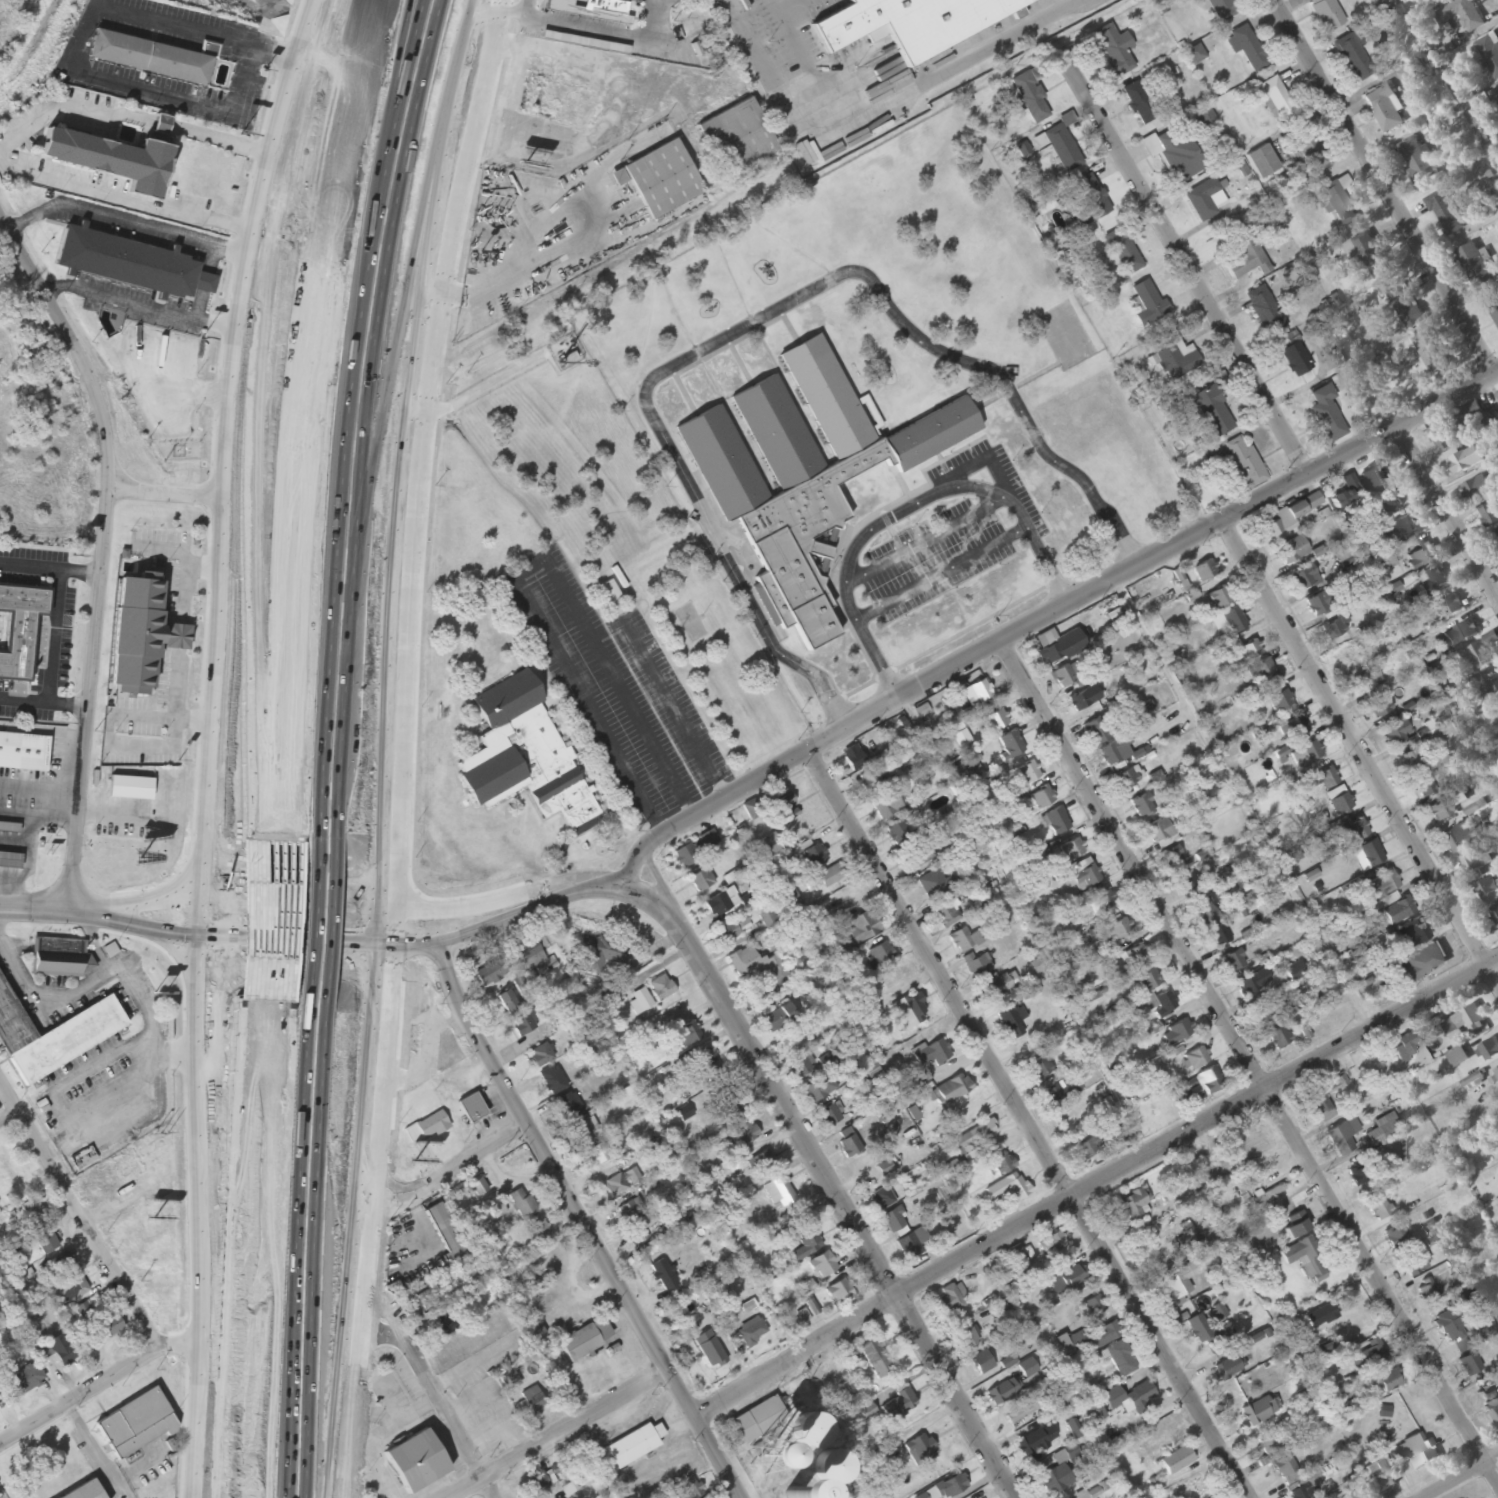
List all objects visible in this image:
building: (1430, 0)
building: (1222, 9)
building: (591, 10)
building: (1328, 15)
building: (1460, 15)
building: (898, 24)
building: (572, 41)
building: (1248, 49)
building: (1114, 50)
building: (1490, 54)
building: (1354, 58)
building: (162, 64)
road: (761, 65)
road: (938, 75)
building: (1412, 75)
building: (1495, 95)
building: (1275, 97)
building: (1031, 98)
building: (1140, 106)
building: (1385, 109)
building: (737, 139)
building: (1062, 148)
building: (1312, 151)
building: (1178, 159)
building: (1417, 160)
building: (1262, 162)
building: (124, 168)
building: (660, 180)
road: (1388, 187)
building: (1205, 200)
building: (1090, 201)
building: (1340, 203)
building: (1446, 214)
building: (1125, 247)
building: (1245, 256)
building: (1370, 257)
road: (1187, 264)
building: (1474, 266)
building: (138, 267)
building: (1148, 304)
building: (1404, 310)
building: (1494, 311)
building: (1265, 312)
road: (759, 325)
building: (1430, 354)
building: (1177, 360)
building: (1296, 360)
building: (1497, 396)
building: (1214, 412)
road: (401, 413)
building: (1326, 414)
road: (308, 417)
road: (345, 418)
building: (1467, 418)
building: (1442, 438)
road: (249, 460)
building: (1464, 461)
building: (1246, 464)
building: (807, 473)
building: (1369, 480)
building: (1477, 489)
building: (895, 493)
building: (1390, 503)
road: (1449, 510)
building: (1490, 514)
building: (1290, 517)
building: (1402, 529)
building: (1496, 533)
road: (103, 549)
building: (1292, 551)
building: (1422, 555)
building: (1205, 573)
building: (1435, 577)
building: (1305, 578)
building: (607, 590)
building: (1219, 598)
building: (1324, 605)
building: (1452, 607)
road: (1050, 620)
building: (1233, 620)
building: (1334, 630)
building: (1465, 633)
building: (28, 636)
building: (149, 642)
building: (1049, 647)
building: (1248, 652)
building: (1479, 656)
building: (1352, 657)
building: (1264, 674)
building: (1066, 676)
building: (1367, 682)
building: (1489, 691)
building: (981, 693)
building: (1084, 700)
building: (1279, 702)
building: (1379, 708)
building: (1497, 708)
building: (995, 721)
building: (1295, 728)
building: (1099, 731)
building: (1396, 735)
road: (206, 743)
building: (1011, 745)
road: (400, 746)
building: (22, 752)
road: (1361, 752)
building: (1114, 753)
building: (1306, 755)
building: (524, 757)
building: (853, 759)
building: (1412, 759)
building: (1024, 776)
building: (1129, 778)
building: (1324, 779)
building: (869, 781)
building: (1424, 788)
building: (1041, 799)
building: (1340, 802)
building: (887, 806)
building: (1142, 807)
building: (1447, 808)
building: (752, 811)
building: (781, 811)
building: (1056, 822)
building: (1354, 833)
building: (898, 834)
building: (1161, 834)
building: (1462, 839)
building: (708, 841)
building: (766, 849)
building: (1072, 850)
building: (1368, 856)
building: (685, 857)
building: (814, 857)
building: (919, 858)
building: (1172, 858)
building: (9, 861)
building: (1477, 861)
road: (288, 877)
road: (659, 878)
building: (1086, 878)
road: (182, 880)
building: (702, 881)
building: (1188, 883)
building: (933, 885)
building: (1382, 885)
road: (596, 887)
building: (1488, 893)
road: (408, 896)
building: (1102, 902)
road: (132, 904)
road: (295, 905)
building: (717, 906)
road: (481, 907)
building: (1398, 909)
road: (34, 910)
building: (946, 913)
building: (1204, 913)
building: (1495, 916)
road: (333, 918)
road: (256, 919)
building: (764, 919)
road: (274, 920)
building: (864, 927)
road: (131, 928)
road: (317, 929)
road: (482, 930)
building: (733, 930)
building: (1119, 930)
building: (1412, 934)
building: (1218, 936)
road: (293, 941)
building: (964, 941)
building: (881, 954)
road: (176, 955)
building: (600, 956)
building: (1134, 956)
building: (61, 958)
building: (1234, 962)
building: (1423, 963)
building: (752, 964)
building: (978, 965)
road: (303, 968)
building: (492, 973)
building: (1147, 978)
building: (1254, 984)
building: (661, 989)
building: (991, 989)
building: (641, 1002)
building: (508, 1004)
building: (1161, 1005)
building: (910, 1012)
building: (1267, 1012)
building: (779, 1019)
building: (1012, 1022)
building: (1466, 1023)
building: (526, 1025)
building: (1177, 1034)
building: (688, 1035)
building: (58, 1037)
building: (1279, 1039)
building: (1408, 1045)
building: (1488, 1052)
road: (314, 1053)
building: (934, 1055)
building: (541, 1056)
road: (310, 1058)
building: (1196, 1059)
building: (1458, 1059)
building: (801, 1064)
road: (1252, 1064)
building: (706, 1066)
building: (1039, 1069)
building: (1496, 1076)
building: (553, 1081)
road: (772, 1083)
building: (1199, 1086)
building: (953, 1090)
road: (256, 1091)
building: (815, 1092)
building: (1061, 1093)
building: (729, 1103)
building: (1319, 1104)
building: (569, 1107)
building: (471, 1110)
road: (8, 1116)
building: (833, 1119)
road: (1026, 1126)
building: (427, 1129)
building: (580, 1131)
building: (1383, 1131)
building: (746, 1135)
building: (1343, 1137)
building: (975, 1138)
building: (849, 1144)
building: (1091, 1149)
building: (597, 1156)
building: (1000, 1161)
building: (762, 1164)
building: (7, 1170)
road: (453, 1170)
building: (1364, 1175)
road: (1091, 1181)
building: (617, 1186)
building: (1009, 1190)
building: (779, 1193)
building: (883, 1200)
building: (1133, 1203)
building: (1379, 1209)
road: (574, 1210)
building: (496, 1211)
building: (631, 1211)
building: (32, 1213)
road: (78, 1217)
building: (894, 1221)
building: (641, 1230)
building: (445, 1232)
building: (540, 1232)
building: (1398, 1237)
building: (44, 1241)
building: (1190, 1243)
building: (912, 1245)
building: (1052, 1245)
building: (807, 1246)
road: (254, 1249)
building: (1016, 1257)
building: (1307, 1260)
building: (60, 1265)
building: (1415, 1265)
building: (822, 1266)
road: (300, 1271)
building: (664, 1276)
building: (1073, 1279)
building: (1181, 1281)
building: (72, 1290)
building: (1428, 1292)
building: (839, 1294)
building: (948, 1302)
building: (1092, 1306)
building: (808, 1312)
building: (1218, 1315)
building: (112, 1326)
building: (1451, 1327)
building: (1207, 1331)
building: (534, 1332)
building: (752, 1332)
building: (969, 1337)
building: (1090, 1340)
building: (579, 1345)
building: (1461, 1348)
building: (62, 1350)
building: (709, 1350)
building: (1374, 1353)
building: (1121, 1358)
building: (876, 1359)
building: (982, 1363)
building: (1470, 1366)
building: (1230, 1367)
building: (1028, 1374)
building: (25, 1380)
building: (1385, 1384)
road: (96, 1386)
building: (1001, 1394)
building: (841, 1396)
road: (959, 1396)
building: (1113, 1398)
building: (1140, 1399)
road: (439, 1401)
building: (531, 1402)
building: (899, 1405)
building: (1492, 1406)
building: (1263, 1409)
building: (1023, 1412)
building: (1096, 1412)
building: (1379, 1416)
building: (135, 1424)
building: (757, 1430)
building: (808, 1430)
road: (558, 1435)
building: (1032, 1443)
building: (1269, 1445)
building: (629, 1448)
building: (920, 1449)
building: (1417, 1453)
building: (414, 1461)
water tower: (769, 1461)
building: (1176, 1461)
building: (830, 1466)
road: (290, 1469)
building: (1287, 1471)
road: (1457, 1475)
building: (1381, 1476)
building: (774, 1480)
building: (1056, 1480)
building: (538, 1484)
building: (953, 1486)
building: (84, 1491)
building: (688, 1491)
building: (1302, 1492)
building: (931, 1494)
building: (1357, 1496)

